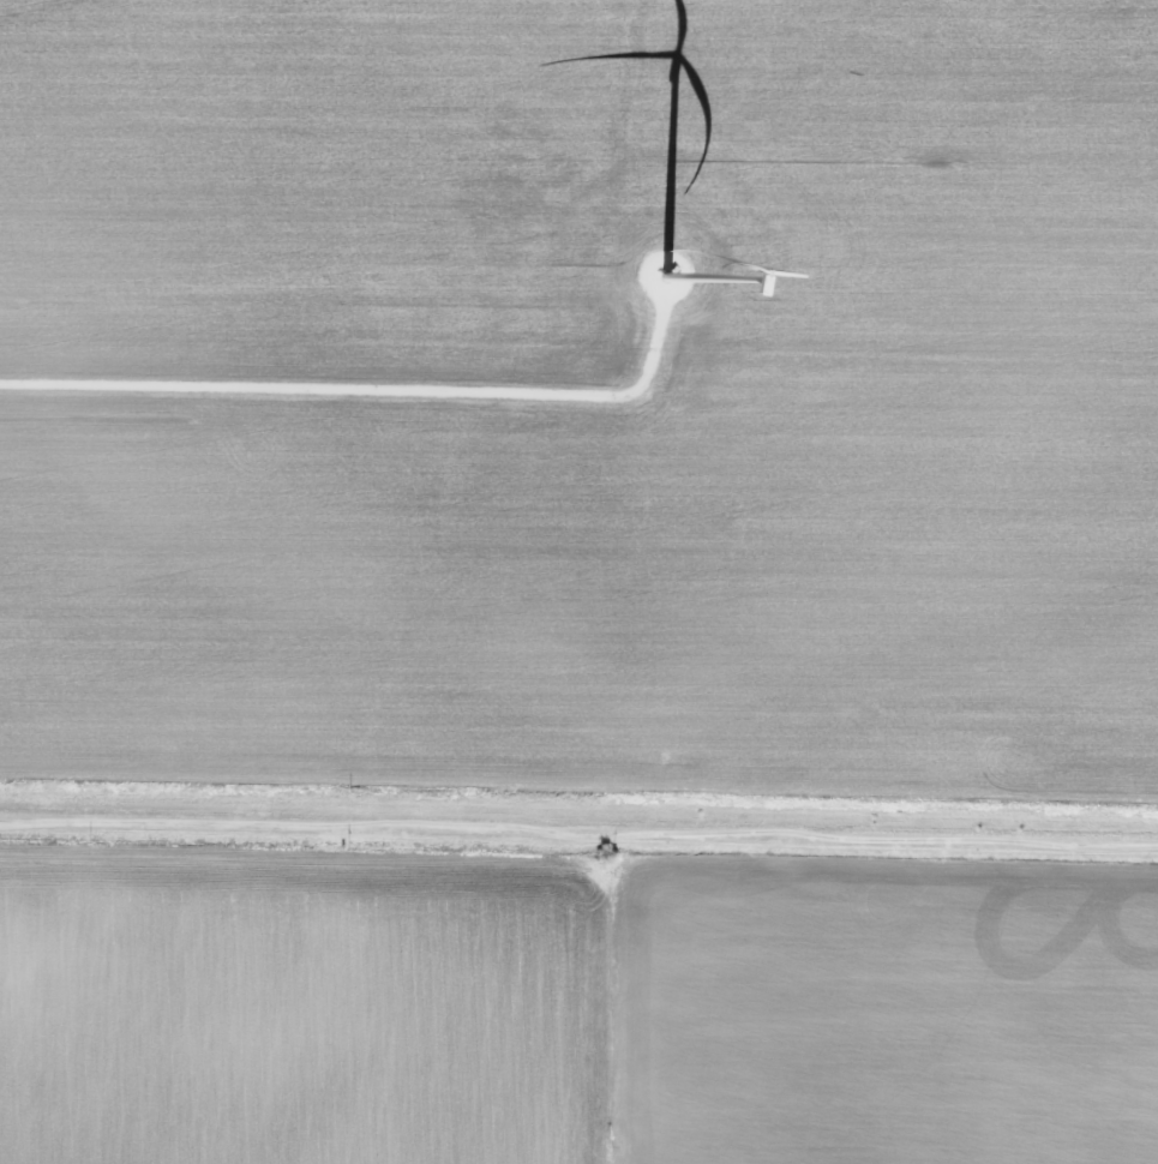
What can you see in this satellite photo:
wind turbine: (660, 280)
road: (578, 840)

